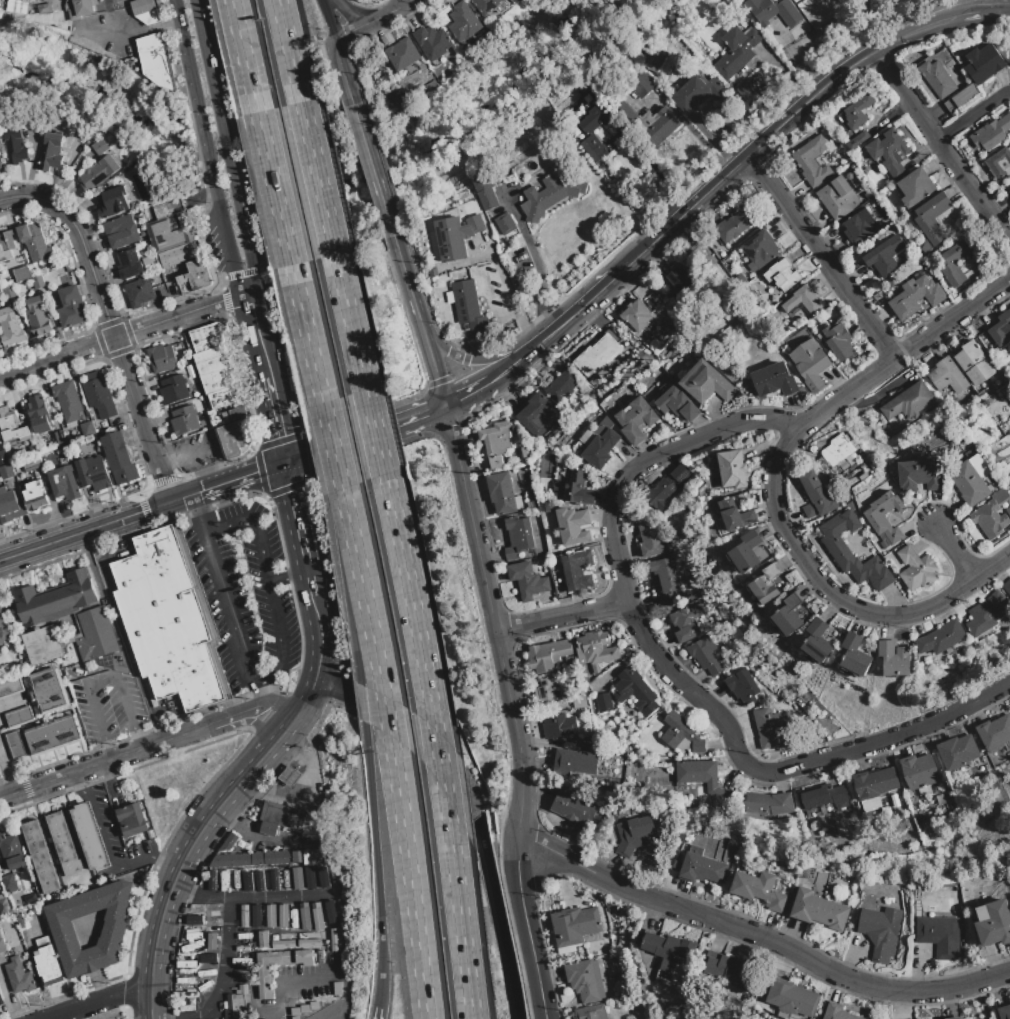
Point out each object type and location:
building: (818, 0)
road: (411, 1)
road: (413, 1)
building: (53, 3)
road: (978, 5)
building: (486, 6)
building: (17, 7)
building: (142, 7)
building: (44, 9)
building: (82, 9)
road: (992, 11)
building: (773, 12)
road: (392, 13)
road: (966, 13)
road: (351, 15)
road: (330, 21)
building: (463, 22)
road: (354, 31)
road: (201, 44)
building: (433, 44)
road: (185, 46)
road: (289, 50)
building: (737, 52)
building: (402, 54)
road: (244, 55)
building: (654, 60)
building: (158, 63)
building: (984, 63)
road: (345, 73)
building: (937, 78)
building: (645, 82)
building: (425, 88)
building: (746, 91)
building: (697, 93)
building: (962, 98)
building: (857, 112)
road: (973, 115)
building: (596, 119)
building: (657, 126)
road: (777, 128)
road: (220, 132)
building: (991, 133)
road: (205, 134)
building: (857, 140)
building: (15, 146)
building: (99, 147)
road: (942, 147)
building: (595, 150)
building: (52, 151)
building: (890, 152)
building: (814, 158)
building: (1, 163)
building: (1000, 165)
road: (372, 170)
road: (657, 171)
building: (98, 174)
road: (318, 178)
building: (915, 187)
road: (274, 188)
building: (1008, 192)
building: (549, 195)
building: (837, 197)
building: (112, 202)
building: (494, 204)
building: (931, 221)
building: (733, 225)
building: (170, 227)
building: (858, 227)
building: (122, 232)
road: (242, 233)
road: (227, 235)
building: (455, 236)
road: (82, 242)
building: (34, 243)
building: (714, 245)
building: (7, 246)
building: (759, 251)
building: (181, 254)
road: (824, 255)
building: (884, 256)
building: (21, 260)
building: (955, 262)
building: (130, 264)
building: (149, 264)
building: (22, 274)
building: (782, 276)
building: (195, 277)
building: (38, 282)
building: (680, 284)
road: (539, 285)
building: (139, 292)
building: (9, 293)
building: (915, 297)
building: (802, 301)
building: (71, 307)
road: (516, 307)
building: (658, 308)
building: (468, 309)
road: (578, 312)
road: (181, 315)
building: (37, 316)
building: (636, 316)
road: (419, 320)
road: (351, 321)
building: (665, 325)
building: (10, 328)
building: (1000, 329)
road: (307, 334)
road: (257, 335)
building: (210, 336)
building: (838, 342)
building: (597, 356)
road: (57, 357)
building: (162, 358)
road: (466, 359)
road: (522, 359)
building: (973, 363)
building: (810, 364)
building: (217, 367)
building: (946, 376)
road: (499, 377)
building: (773, 380)
building: (705, 383)
building: (562, 386)
building: (174, 389)
road: (467, 394)
building: (99, 396)
building: (226, 397)
building: (67, 400)
building: (906, 402)
building: (676, 404)
building: (234, 414)
building: (38, 415)
building: (535, 415)
road: (142, 420)
building: (635, 420)
building: (184, 421)
road: (276, 421)
road: (770, 421)
building: (12, 427)
building: (87, 429)
road: (375, 430)
road: (365, 433)
building: (58, 437)
building: (236, 439)
building: (496, 443)
road: (332, 446)
building: (600, 449)
road: (200, 451)
building: (835, 452)
building: (970, 452)
building: (526, 454)
building: (3, 458)
building: (119, 458)
building: (31, 463)
traffic signals: (286, 463)
building: (843, 466)
building: (731, 469)
building: (6, 472)
building: (94, 473)
building: (920, 475)
building: (862, 476)
road: (242, 477)
building: (973, 481)
building: (64, 483)
building: (666, 487)
building: (578, 489)
building: (558, 491)
building: (502, 494)
building: (36, 496)
building: (816, 496)
building: (10, 506)
road: (195, 510)
road: (295, 512)
building: (992, 515)
building: (732, 516)
building: (877, 521)
road: (99, 526)
building: (573, 526)
building: (518, 537)
building: (651, 540)
building: (884, 544)
building: (836, 547)
road: (955, 550)
building: (746, 552)
building: (916, 569)
building: (576, 570)
road: (309, 579)
building: (527, 580)
building: (667, 580)
road: (271, 586)
building: (765, 586)
building: (1007, 586)
road: (834, 597)
building: (56, 599)
road: (224, 603)
building: (986, 613)
road: (561, 616)
building: (791, 616)
building: (170, 620)
building: (686, 621)
building: (3, 630)
building: (96, 634)
road: (320, 637)
building: (942, 638)
building: (817, 642)
building: (44, 645)
building: (597, 649)
building: (705, 655)
building: (855, 655)
building: (551, 656)
building: (71, 659)
building: (895, 659)
road: (102, 677)
building: (742, 687)
building: (10, 688)
road: (335, 689)
building: (552, 690)
building: (48, 691)
building: (635, 691)
road: (261, 694)
road: (305, 702)
building: (579, 702)
building: (603, 703)
road: (11, 704)
road: (511, 710)
road: (278, 713)
road: (238, 717)
building: (19, 718)
road: (251, 721)
building: (768, 725)
building: (558, 726)
building: (994, 733)
building: (681, 734)
building: (53, 736)
building: (588, 743)
road: (437, 744)
building: (16, 745)
road: (367, 745)
road: (392, 752)
building: (958, 754)
road: (105, 762)
building: (574, 762)
road: (781, 770)
road: (7, 771)
building: (918, 771)
building: (289, 775)
building: (703, 780)
road: (78, 781)
building: (874, 783)
building: (821, 796)
building: (768, 804)
building: (572, 807)
building: (282, 815)
building: (132, 820)
building: (267, 828)
building: (635, 834)
building: (90, 837)
road: (267, 840)
building: (229, 843)
building: (64, 844)
road: (107, 844)
building: (12, 851)
road: (557, 853)
road: (186, 855)
building: (40, 857)
building: (297, 857)
building: (313, 857)
building: (252, 859)
road: (164, 864)
building: (702, 868)
building: (297, 878)
building: (36, 879)
building: (211, 881)
building: (275, 881)
building: (10, 884)
building: (759, 890)
road: (252, 899)
building: (4, 906)
building: (819, 910)
building: (194, 916)
building: (255, 916)
building: (245, 917)
road: (497, 920)
building: (21, 923)
building: (993, 923)
building: (305, 926)
building: (574, 927)
road: (343, 928)
building: (63, 931)
building: (880, 932)
building: (939, 936)
building: (0, 937)
building: (287, 937)
building: (335, 940)
building: (261, 942)
building: (283, 944)
building: (309, 944)
building: (2, 946)
building: (671, 951)
road: (799, 955)
building: (48, 962)
building: (244, 962)
road: (223, 969)
building: (730, 970)
building: (19, 977)
building: (585, 981)
building: (264, 983)
building: (337, 989)
building: (1, 999)
building: (792, 999)
road: (98, 1000)
building: (736, 1002)
building: (237, 1003)
building: (315, 1006)
building: (304, 1009)
road: (377, 1010)
building: (295, 1012)
building: (591, 1012)
building: (838, 1012)
building: (1004, 1012)
building: (956, 1018)

